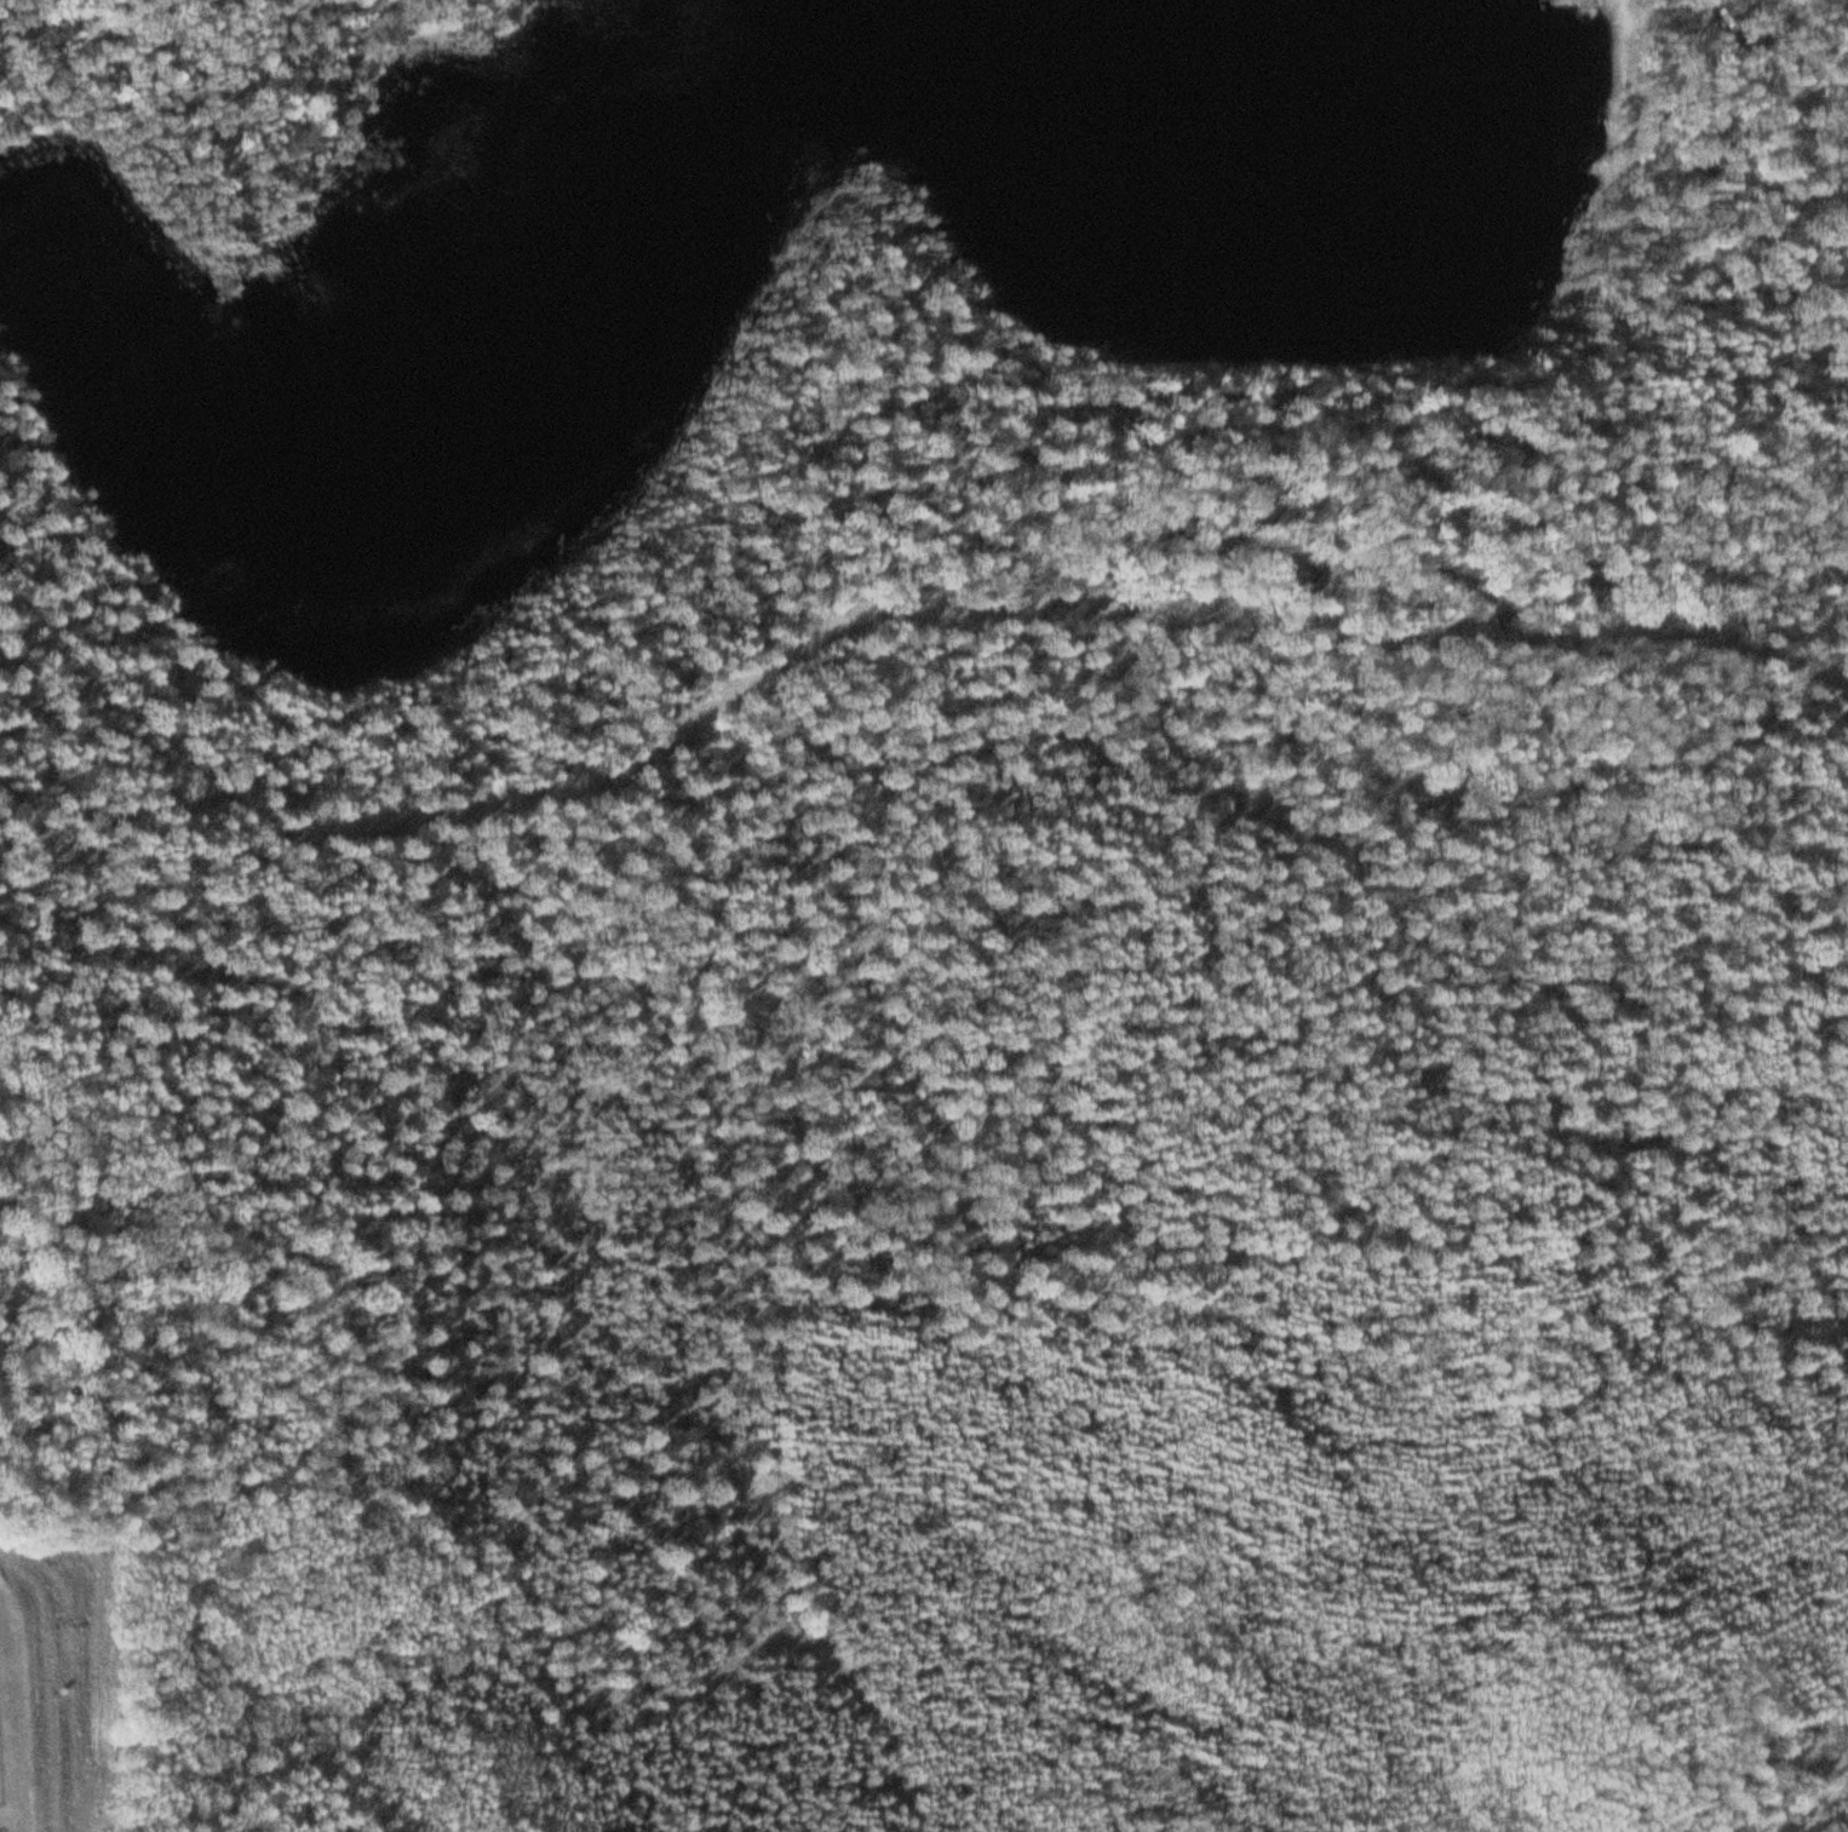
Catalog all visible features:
road: (1756, 103)
road: (1843, 666)
road: (1418, 826)

